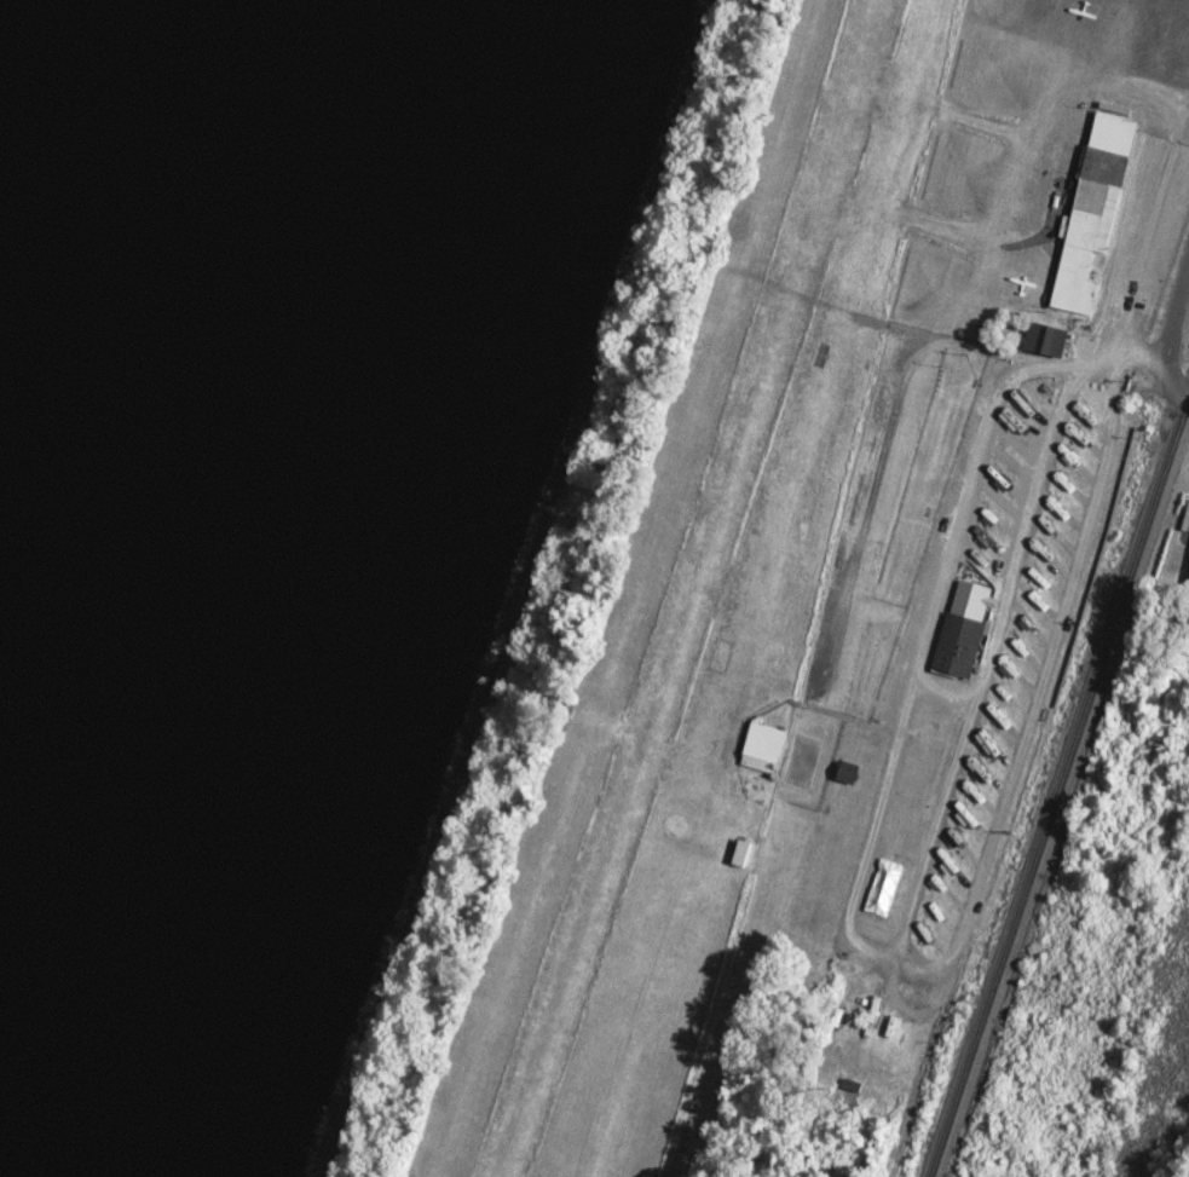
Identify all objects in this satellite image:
road: (1177, 315)
river: (112, 328)
road: (1118, 353)
road: (1170, 380)
airport runway: (673, 588)
building: (764, 742)
railway: (1050, 786)

